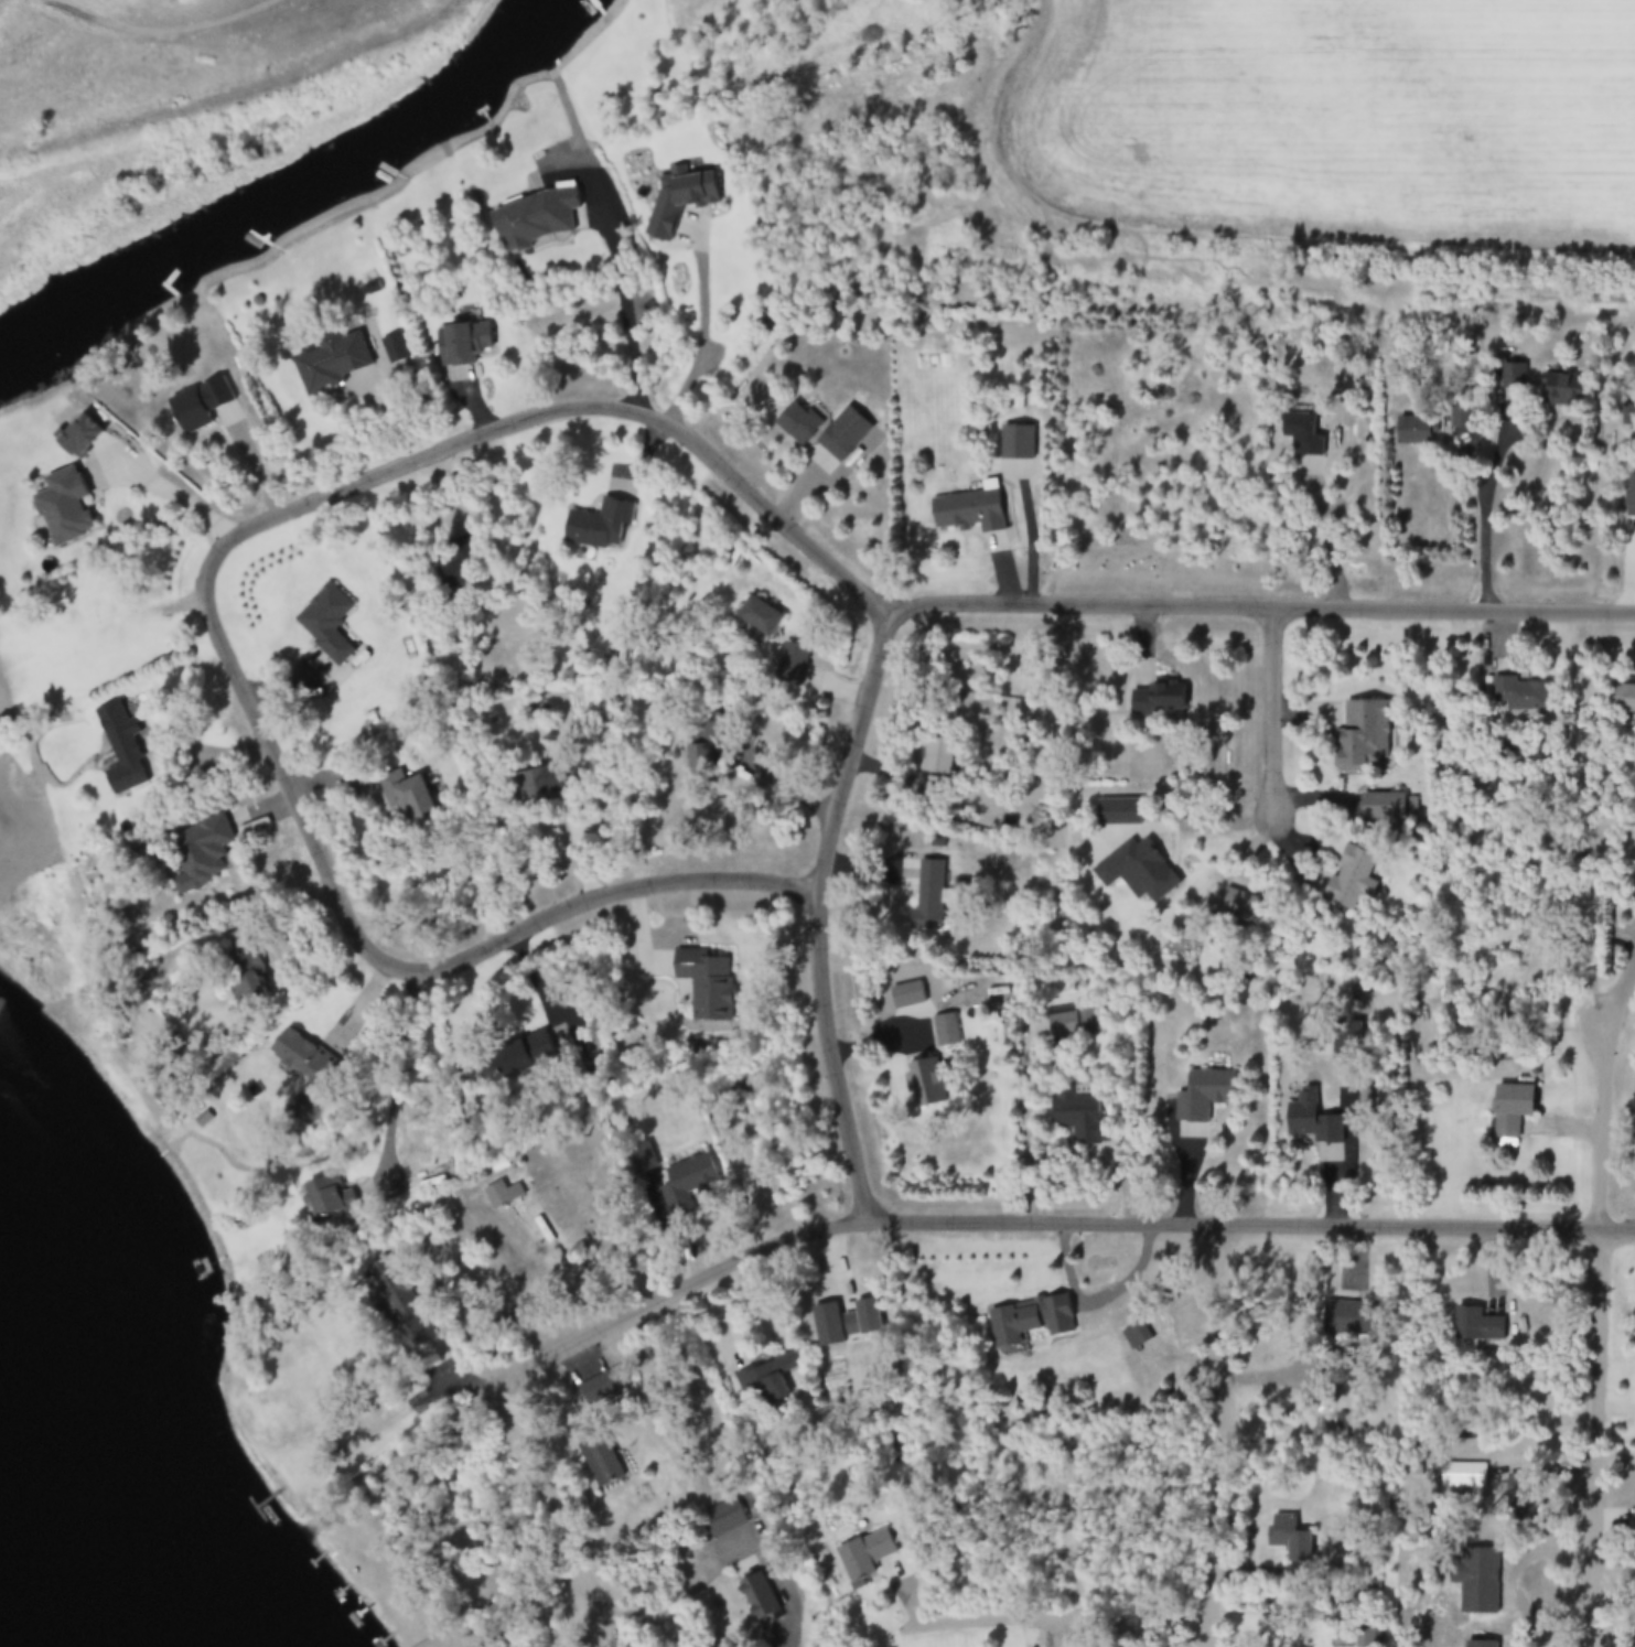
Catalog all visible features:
park: (152, 110)
building: (684, 203)
building: (535, 220)
road: (1246, 220)
building: (917, 325)
building: (463, 345)
building: (395, 351)
building: (331, 363)
building: (1562, 392)
building: (198, 407)
building: (1460, 418)
building: (798, 427)
building: (1415, 432)
road: (494, 433)
building: (1302, 435)
building: (843, 437)
building: (78, 439)
building: (1017, 445)
building: (1629, 499)
building: (63, 509)
building: (969, 513)
building: (600, 527)
building: (455, 572)
building: (759, 618)
building: (325, 624)
building: (790, 666)
building: (1518, 697)
building: (1623, 700)
building: (1158, 701)
road: (1276, 710)
building: (717, 733)
building: (1365, 738)
building: (122, 752)
building: (699, 762)
building: (936, 773)
building: (540, 786)
building: (407, 798)
building: (1376, 810)
building: (1118, 814)
building: (201, 855)
building: (1137, 874)
building: (1352, 880)
building: (925, 895)
building: (1238, 907)
road: (819, 914)
building: (245, 983)
building: (704, 986)
building: (1073, 1026)
building: (1342, 1049)
building: (516, 1059)
building: (309, 1078)
building: (932, 1084)
building: (168, 1095)
building: (1203, 1098)
building: (1510, 1112)
building: (1079, 1119)
building: (1311, 1122)
building: (688, 1187)
building: (502, 1197)
building: (330, 1202)
road: (1054, 1227)
building: (399, 1310)
building: (1351, 1321)
building: (1026, 1322)
building: (827, 1327)
building: (1476, 1328)
building: (1137, 1338)
road: (1602, 1348)
building: (1326, 1376)
building: (761, 1387)
building: (603, 1390)
road: (1219, 1438)
building: (595, 1454)
building: (1463, 1477)
road: (552, 1511)
building: (722, 1520)
building: (1290, 1541)
building: (864, 1558)
building: (1476, 1583)
building: (763, 1597)
road: (1050, 1623)
building: (1481, 1646)

